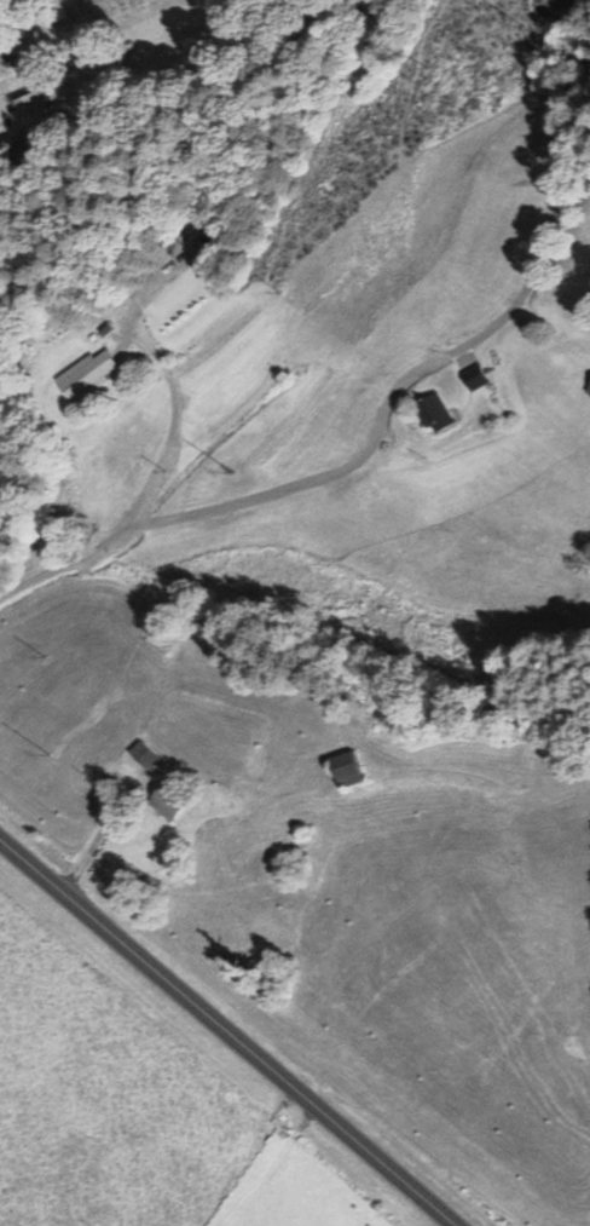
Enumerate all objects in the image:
power tower: (521, 25)
building: (28, 110)
road: (35, 150)
building: (85, 376)
building: (473, 378)
building: (434, 413)
road: (346, 462)
power tower: (231, 472)
power tower: (48, 755)
building: (144, 755)
building: (343, 767)
road: (225, 1032)

